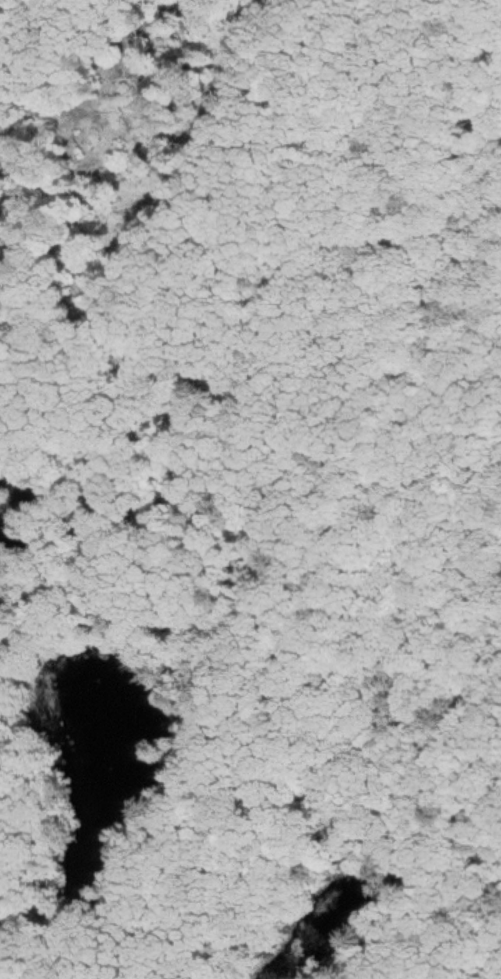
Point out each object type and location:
park: (250, 489)

